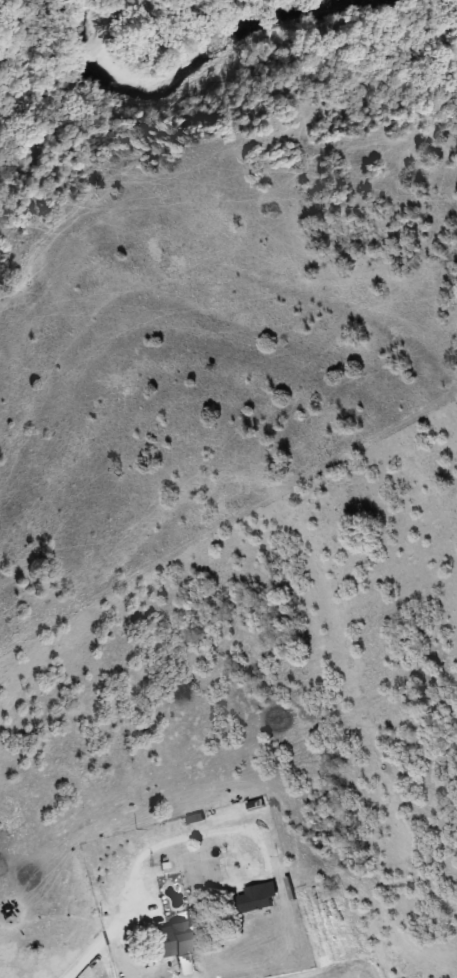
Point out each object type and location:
building: (260, 897)
road: (105, 936)
building: (177, 943)

